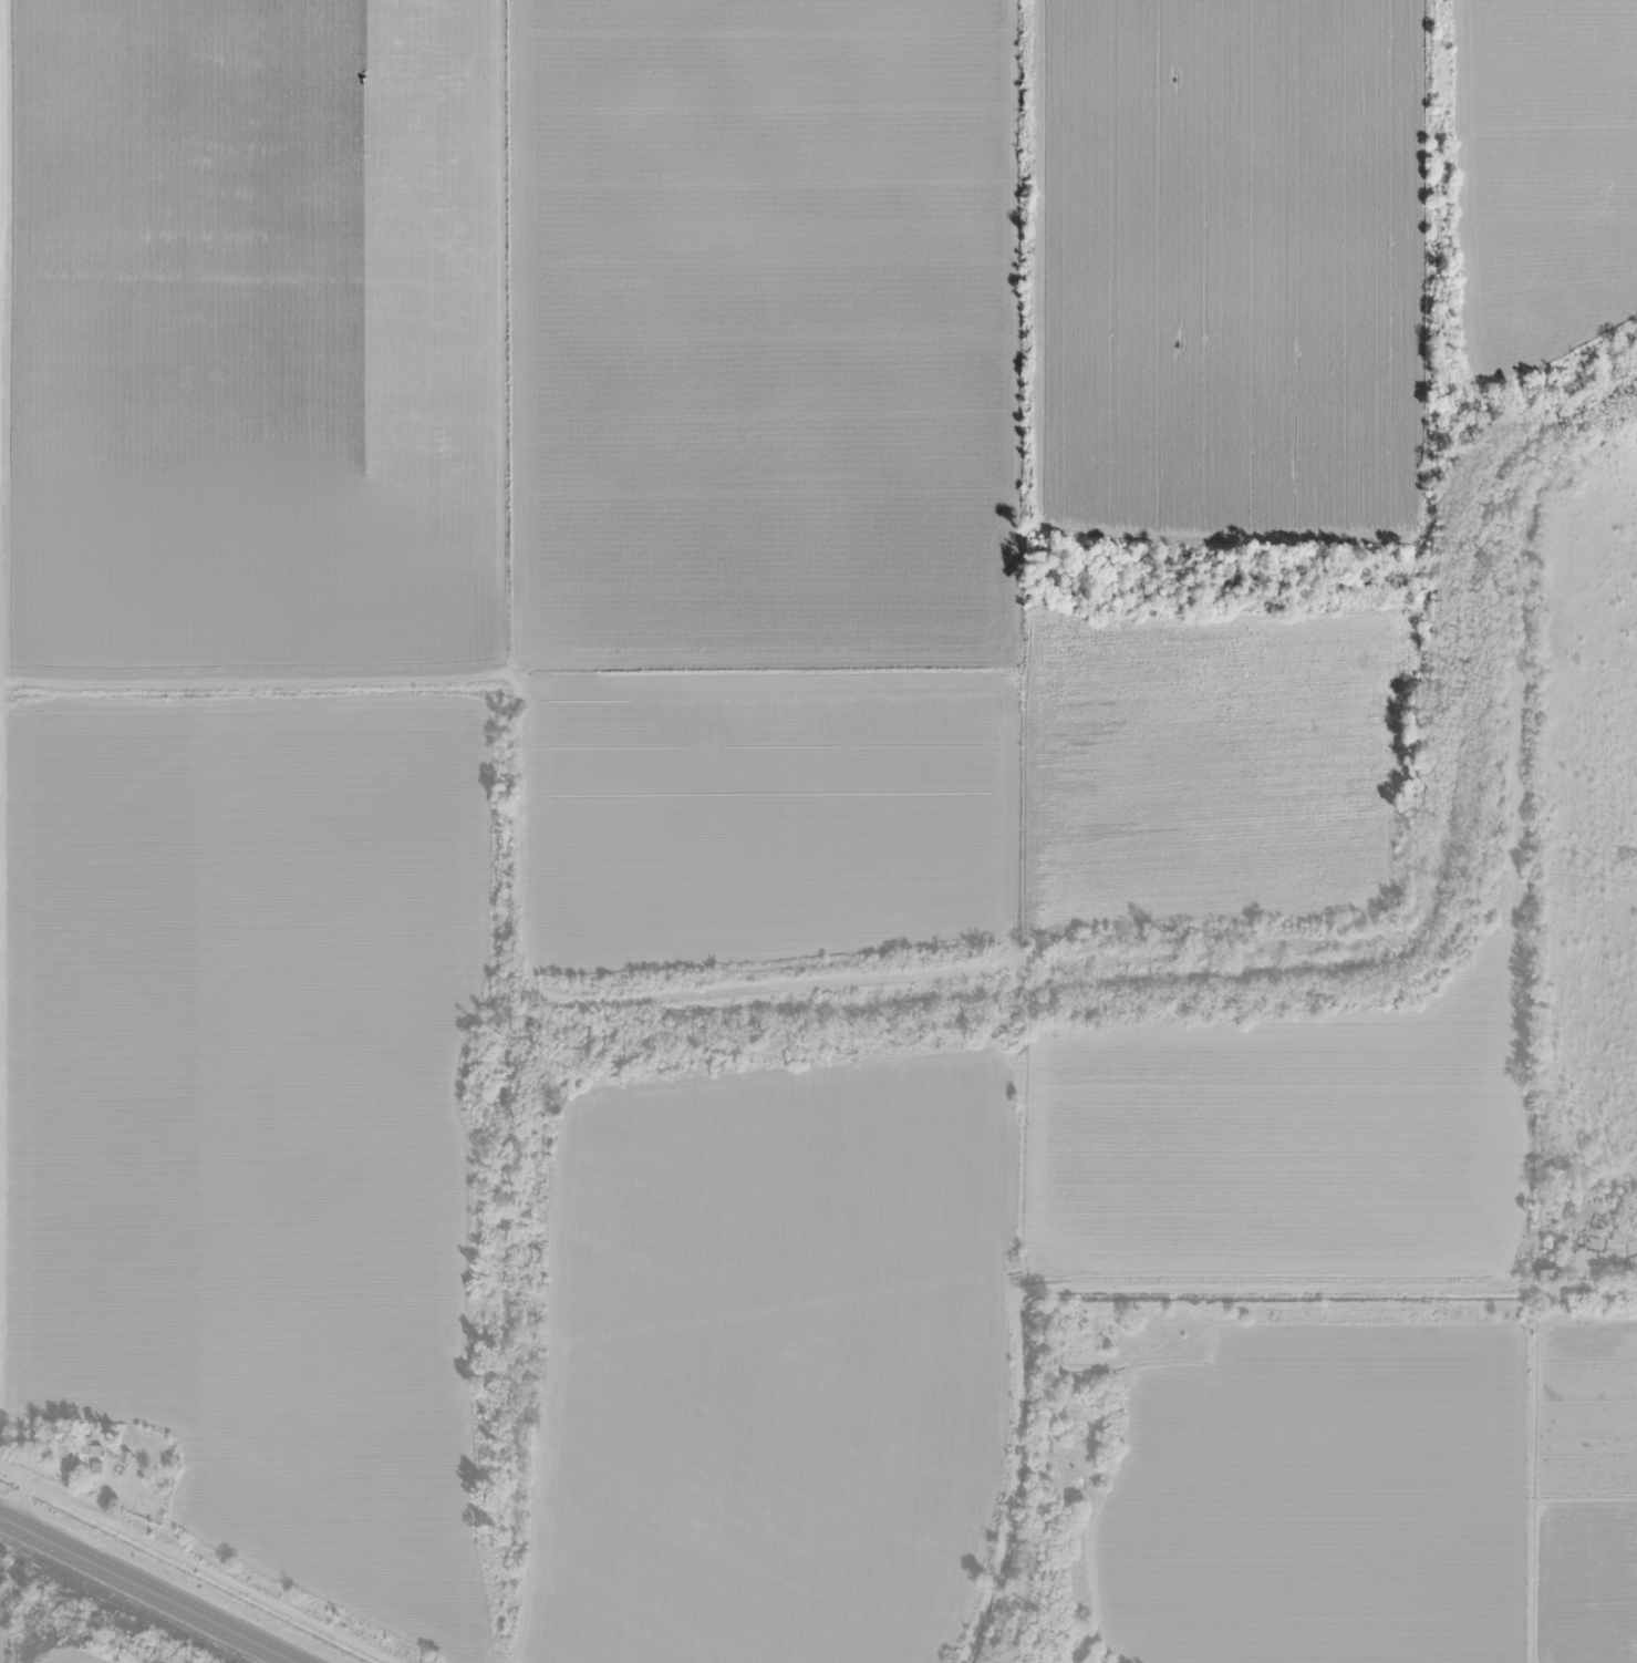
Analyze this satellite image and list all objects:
road: (151, 1588)

